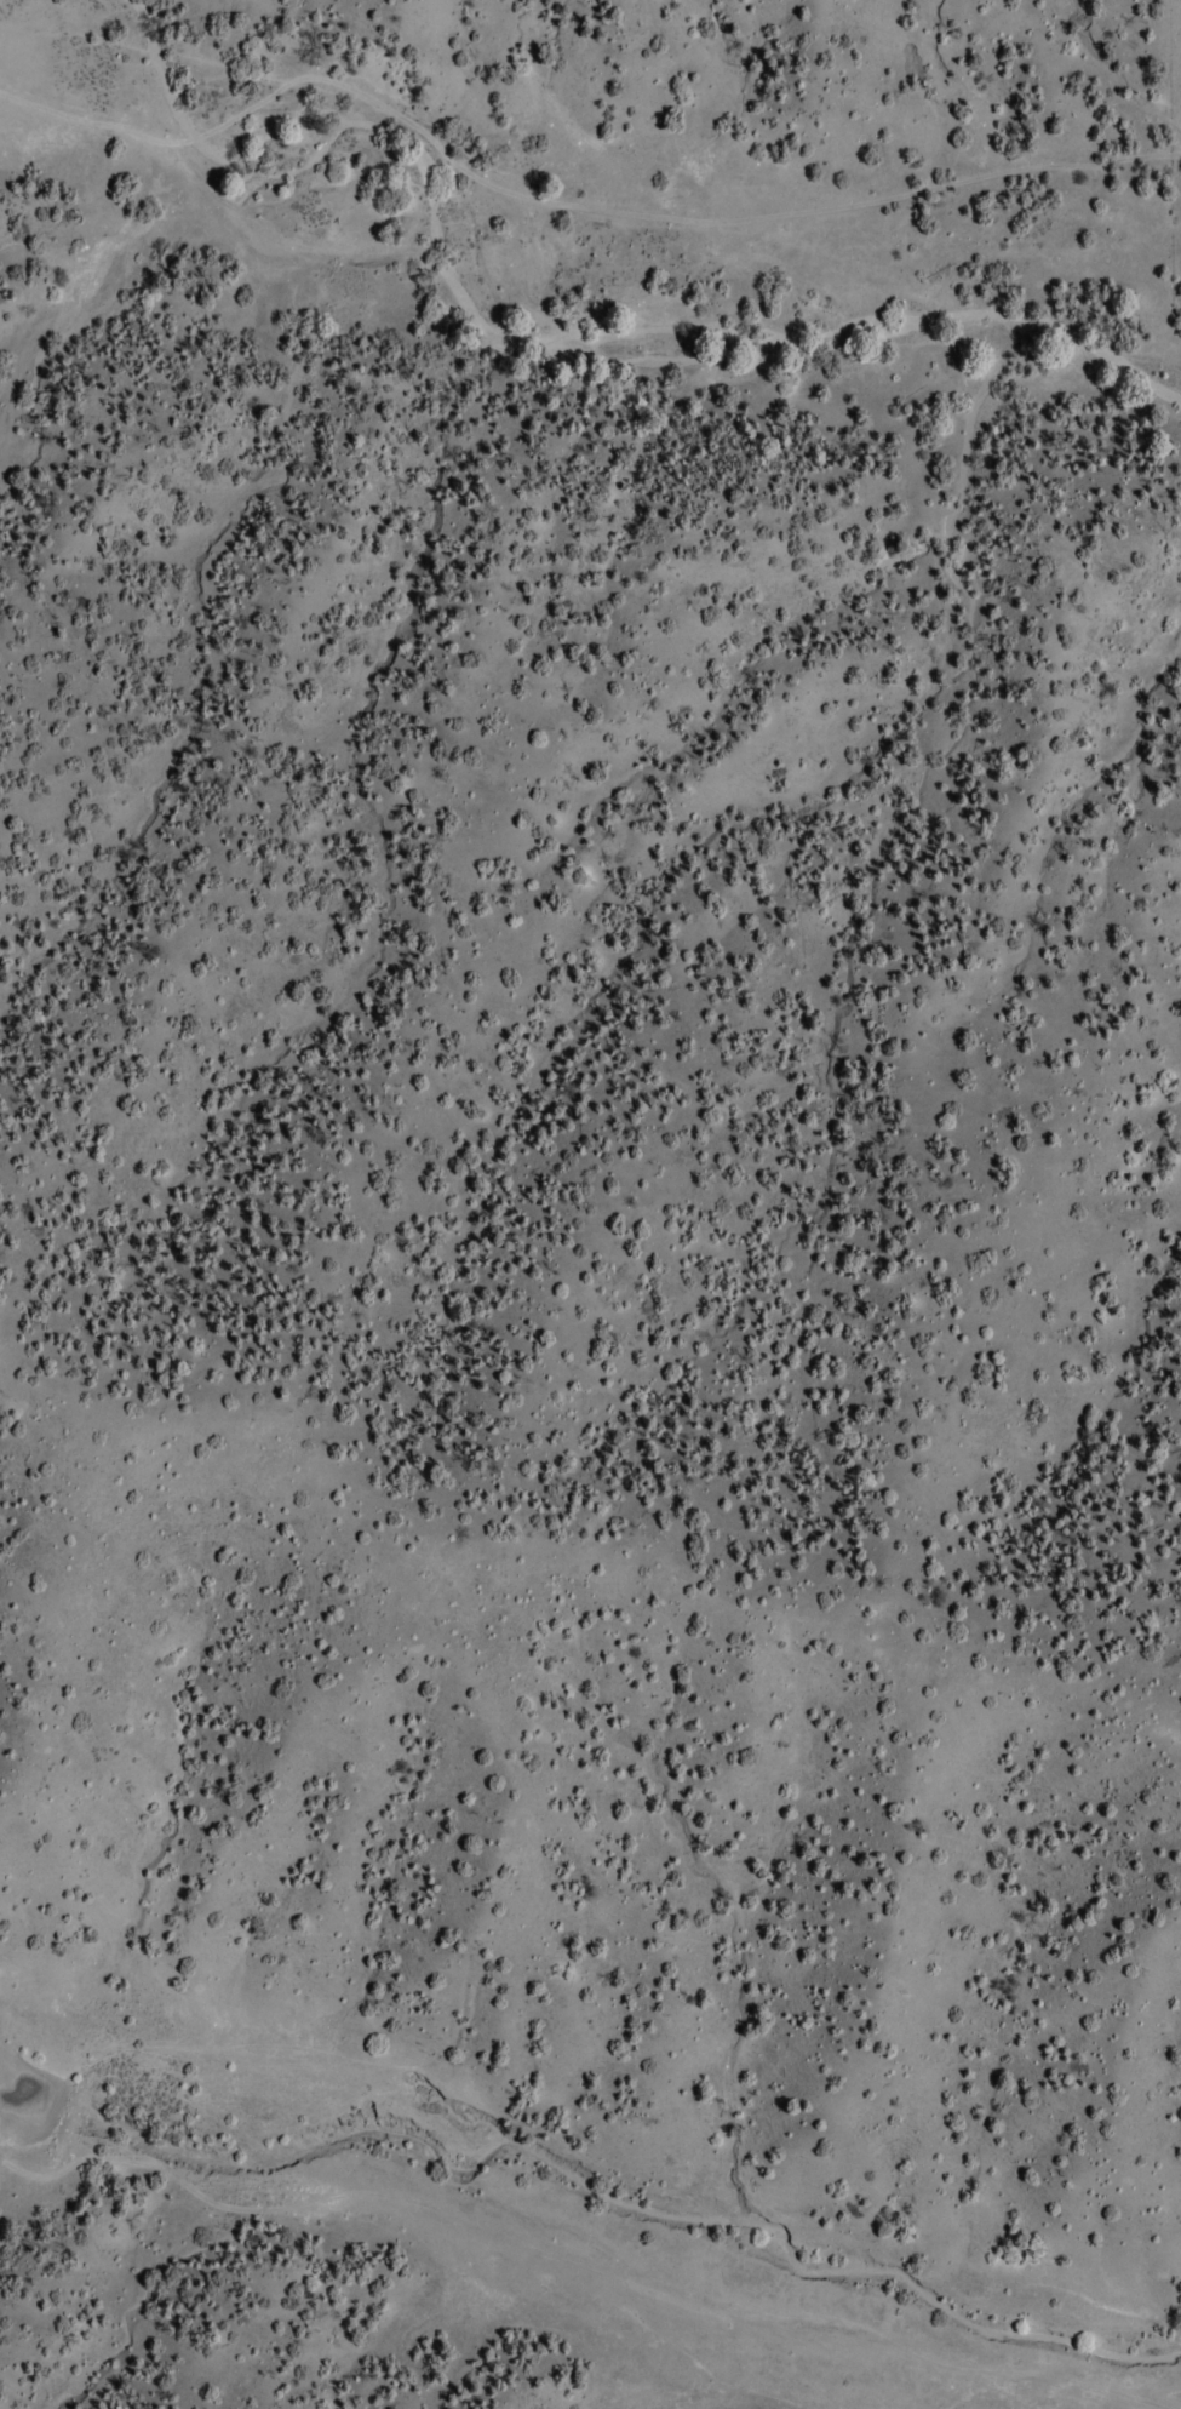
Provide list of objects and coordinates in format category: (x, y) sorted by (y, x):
road: (560, 204)
road: (577, 2259)

